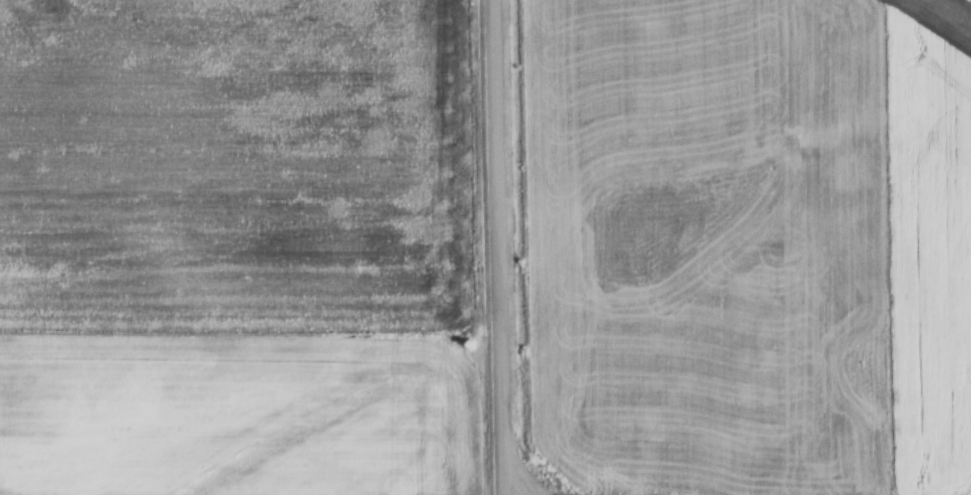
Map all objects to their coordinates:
road: (495, 247)

